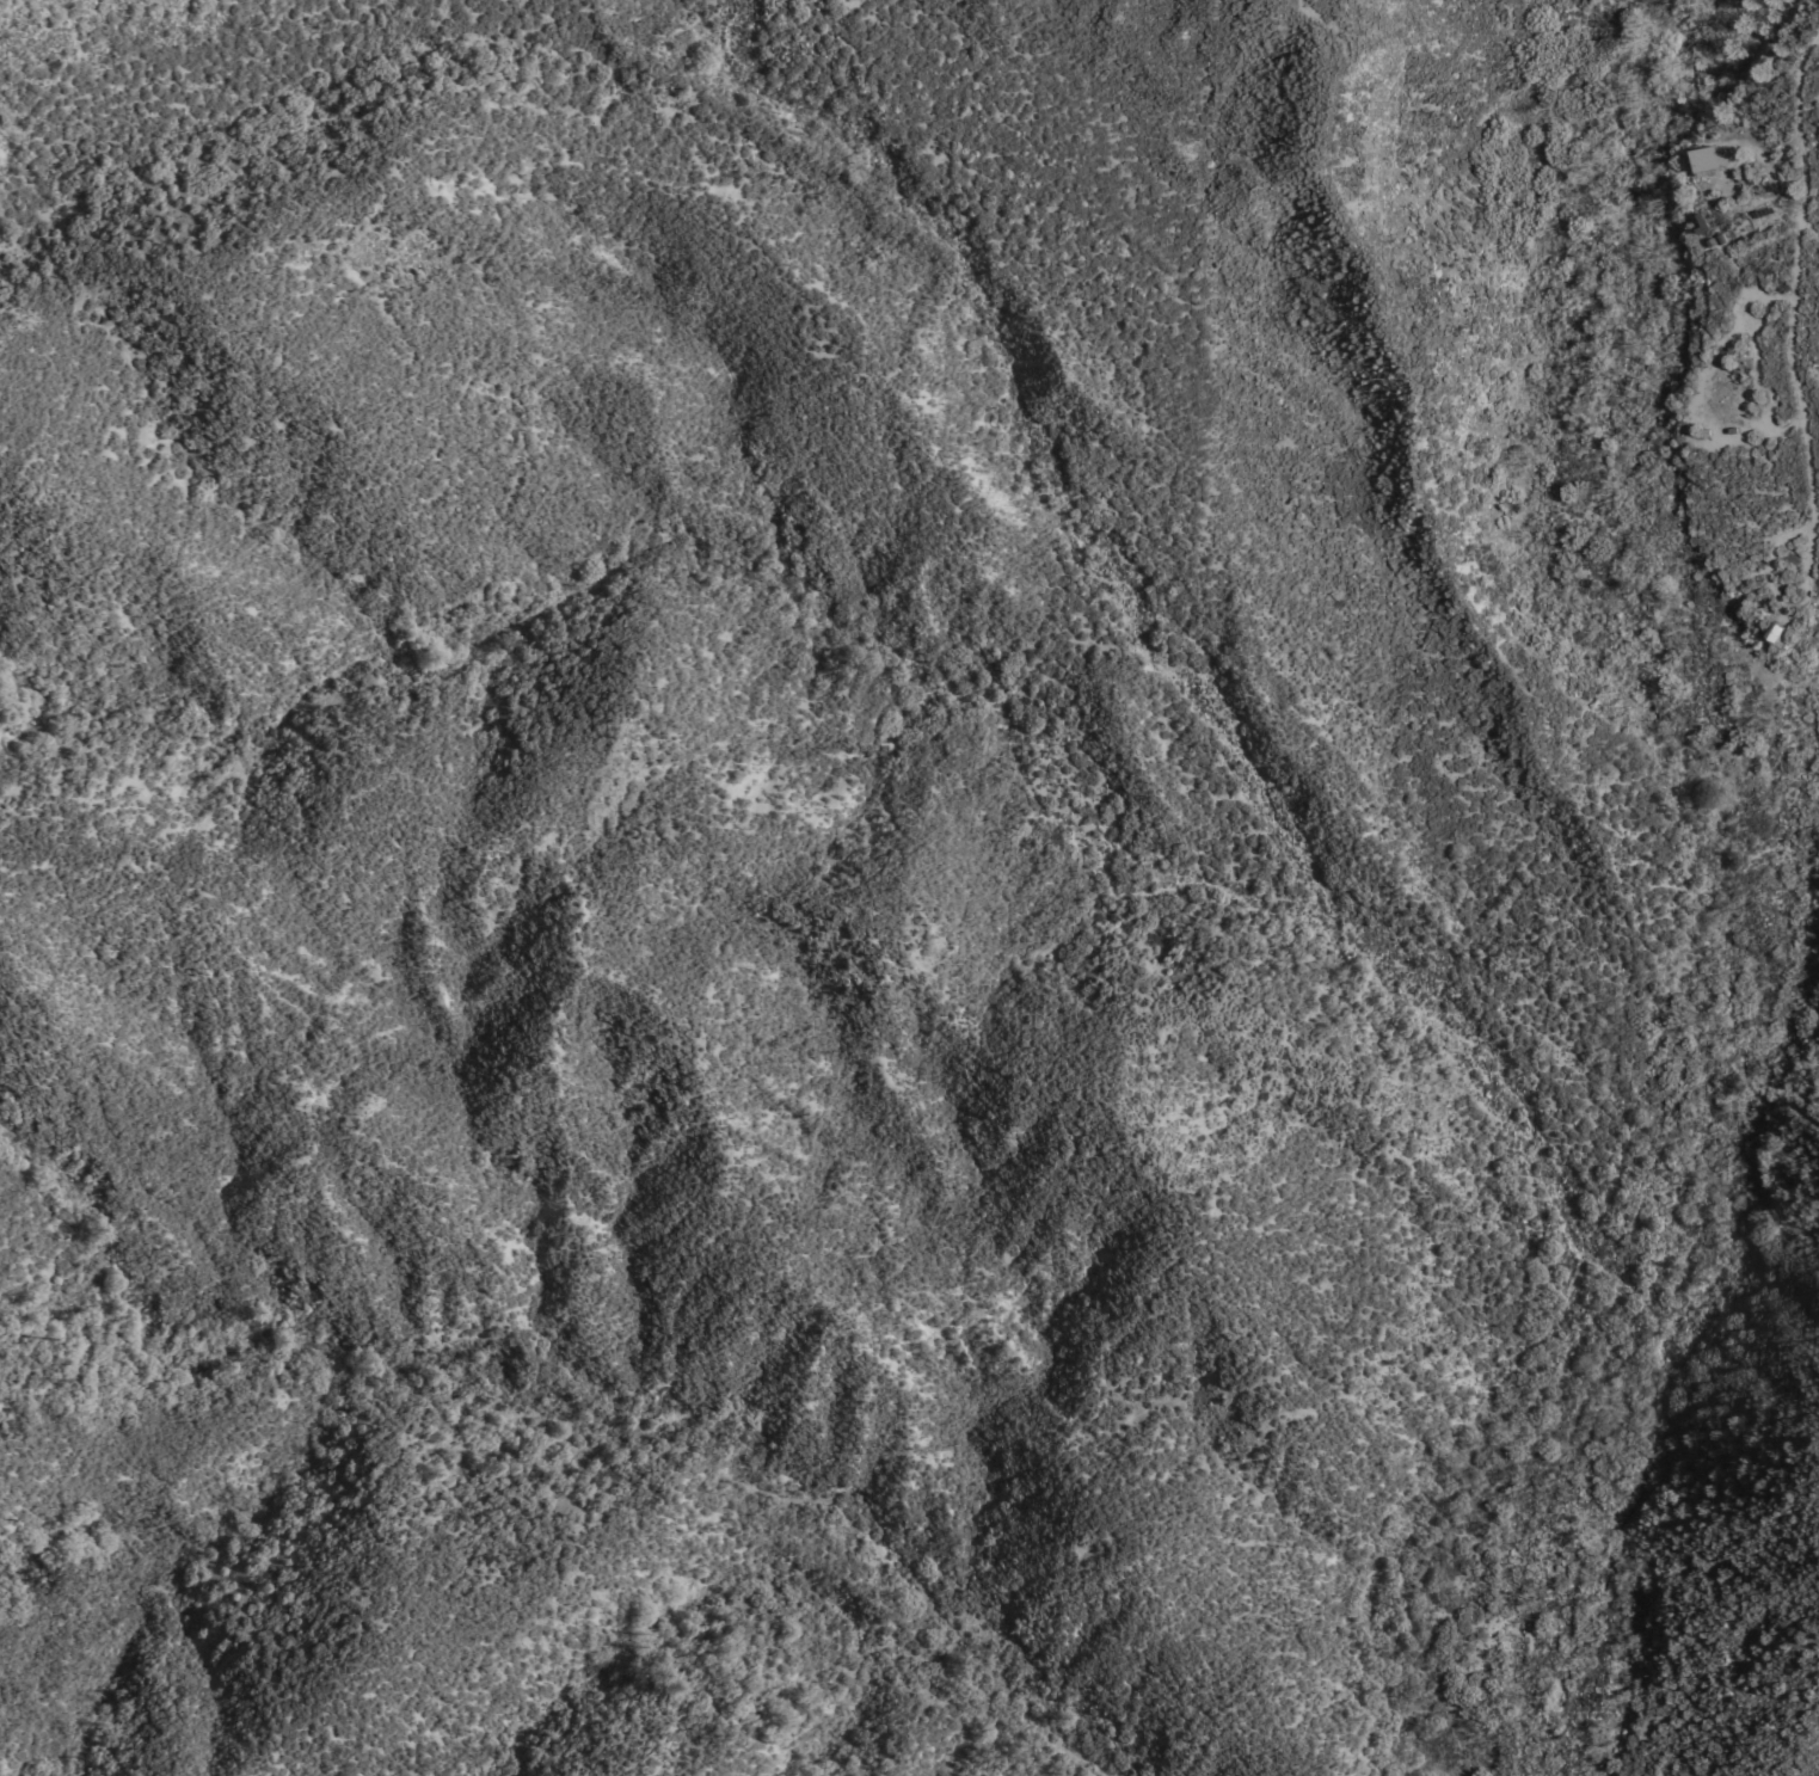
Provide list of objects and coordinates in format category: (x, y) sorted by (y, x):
road: (1759, 148)
building: (1691, 158)
building: (1709, 158)
road: (1795, 278)
road: (1703, 376)
building: (1721, 386)
road: (1777, 600)
building: (1778, 629)
road: (1574, 1285)

